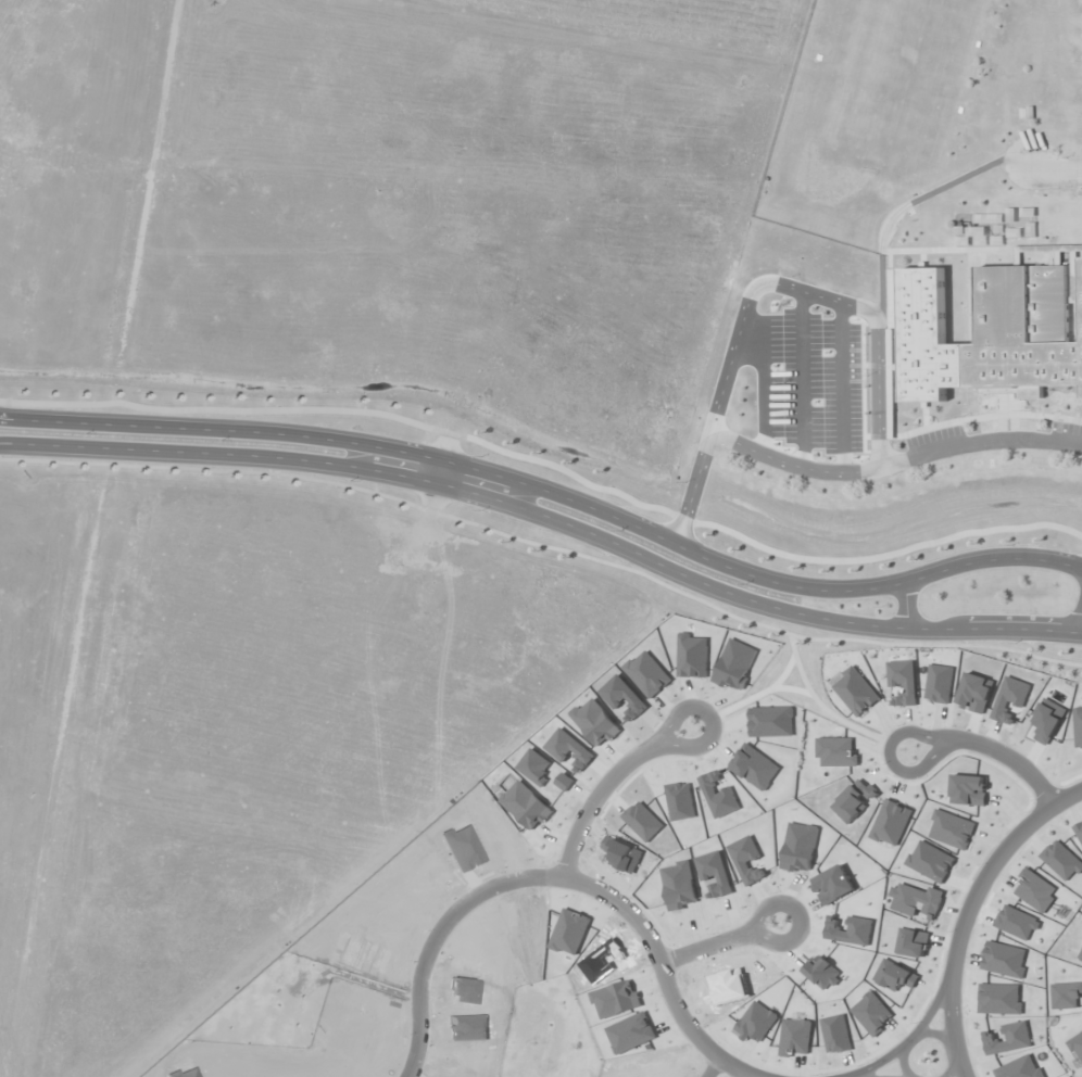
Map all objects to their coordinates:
road: (550, 463)
road: (437, 472)
road: (549, 490)
road: (546, 520)
road: (544, 545)
road: (905, 605)
road: (1081, 630)
road: (709, 718)
road: (1007, 756)
road: (889, 759)
road: (596, 799)
road: (563, 876)
road: (970, 911)
road: (801, 915)
road: (706, 948)
road: (938, 1034)
road: (914, 1036)
road: (904, 1060)
road: (712, 1067)
road: (955, 1067)
road: (742, 1075)

